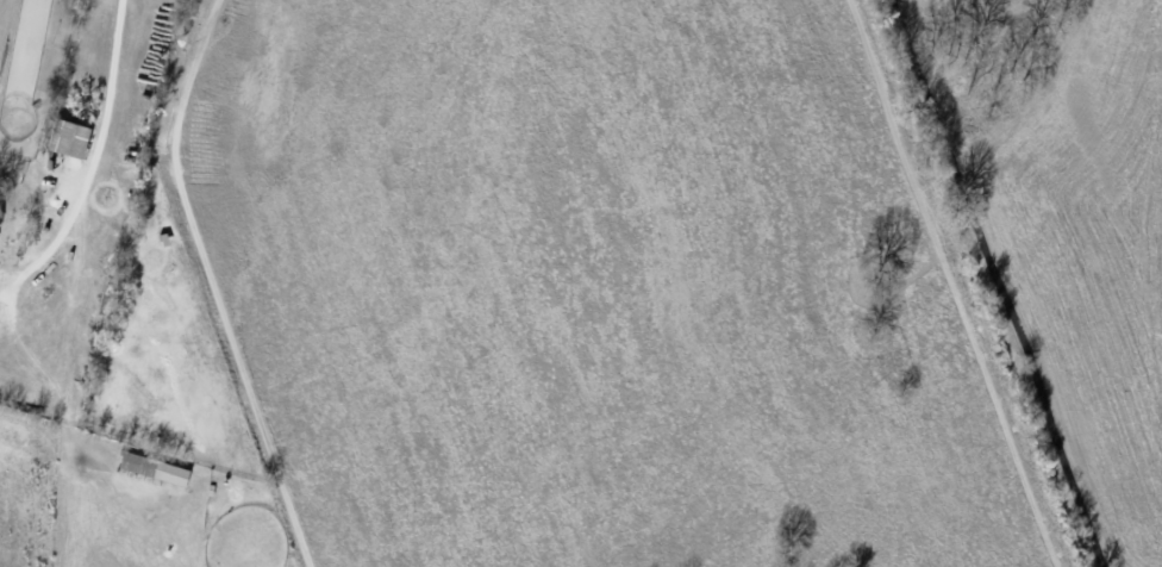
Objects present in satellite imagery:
building: (70, 137)
road: (93, 158)
road: (998, 283)
building: (155, 467)

